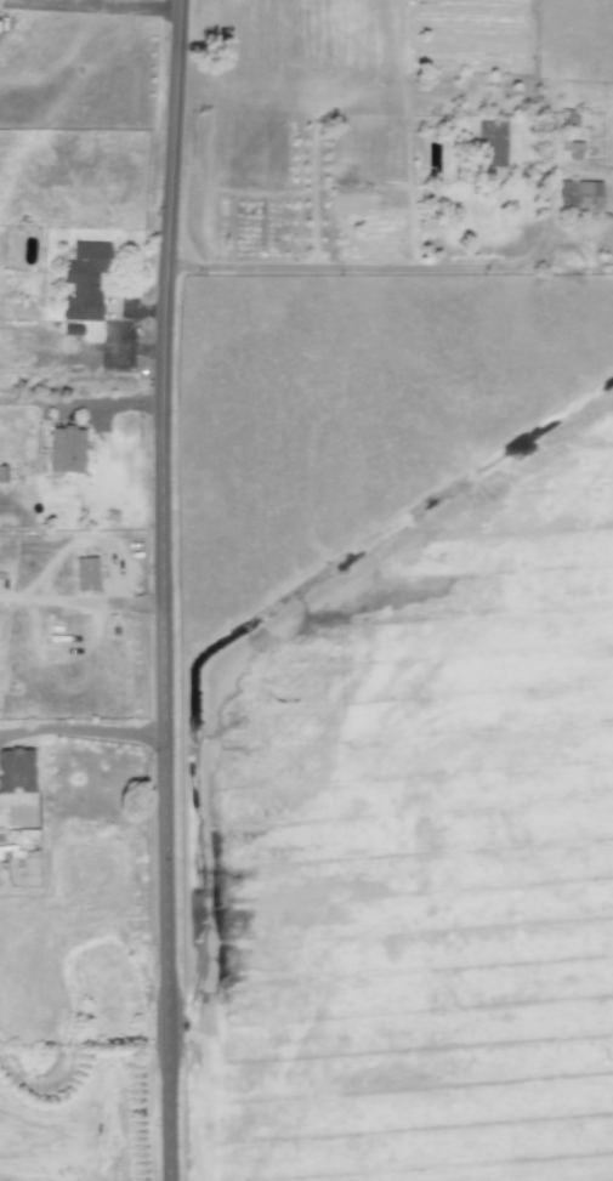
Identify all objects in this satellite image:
road: (93, 8)
building: (490, 144)
building: (569, 149)
building: (578, 194)
road: (363, 268)
building: (84, 279)
road: (81, 402)
building: (66, 449)
building: (85, 572)
road: (164, 590)
road: (83, 728)
building: (15, 770)
building: (10, 851)
crop: (356, 892)

